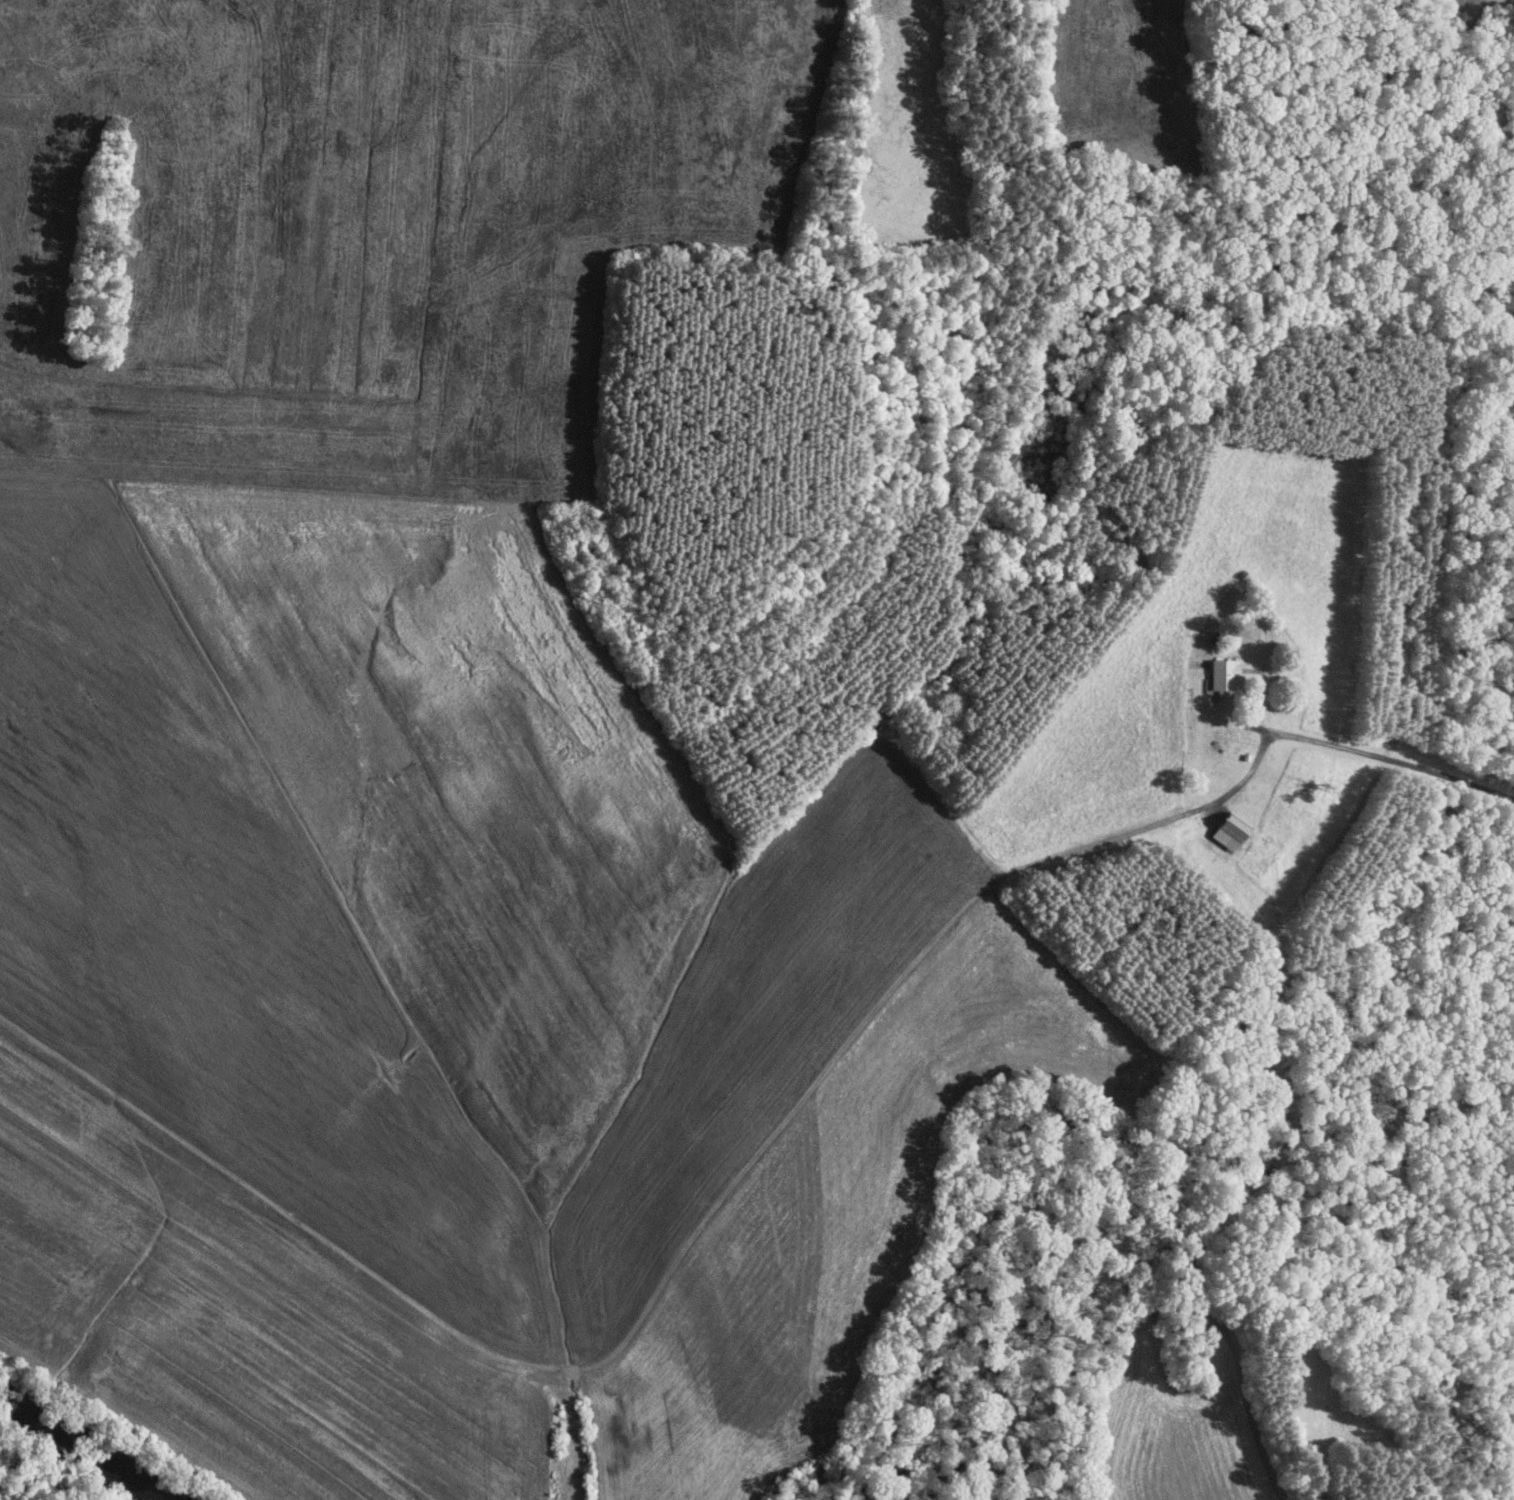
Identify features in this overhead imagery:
building: (1219, 675)
road: (1359, 751)
building: (1224, 829)
river: (58, 1459)

